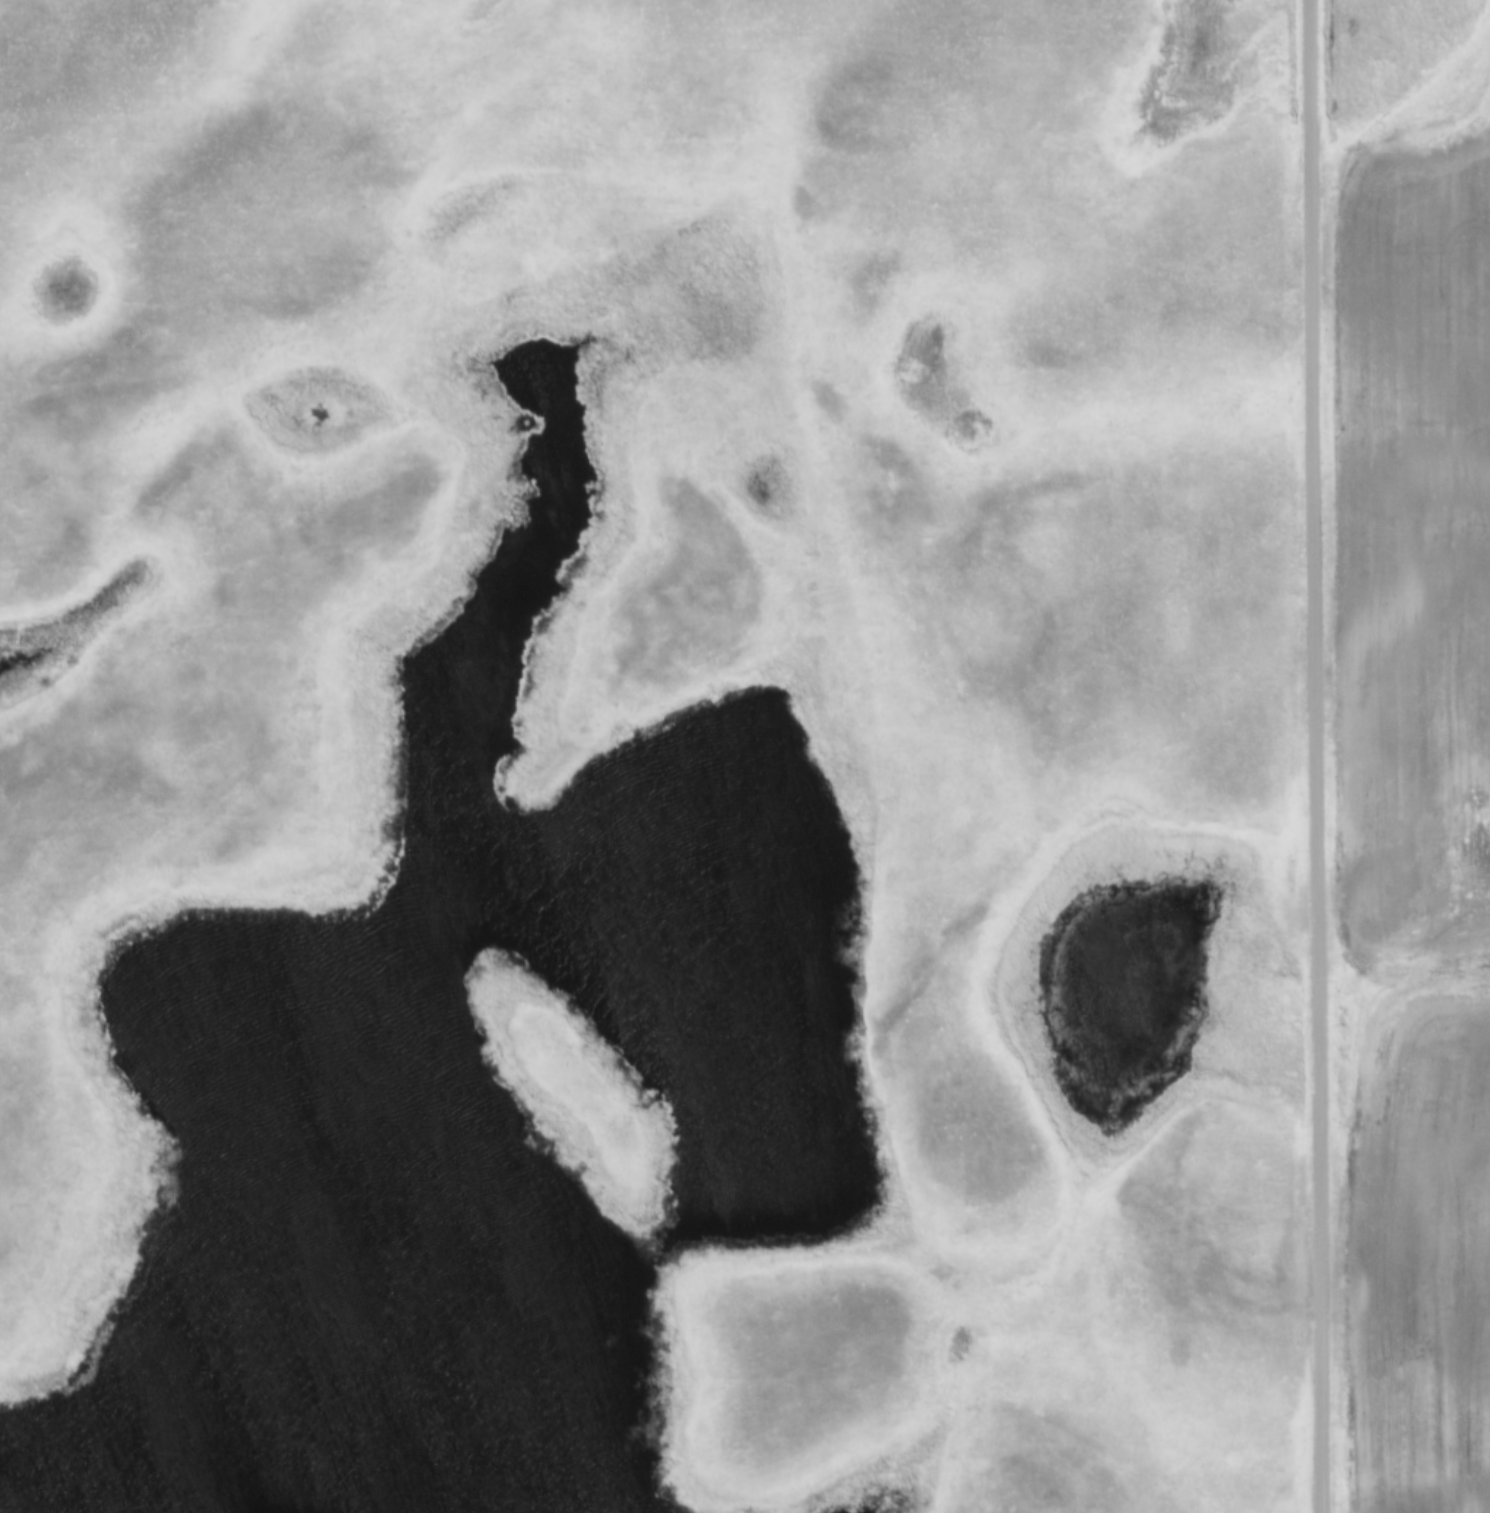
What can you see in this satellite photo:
road: (1320, 756)

